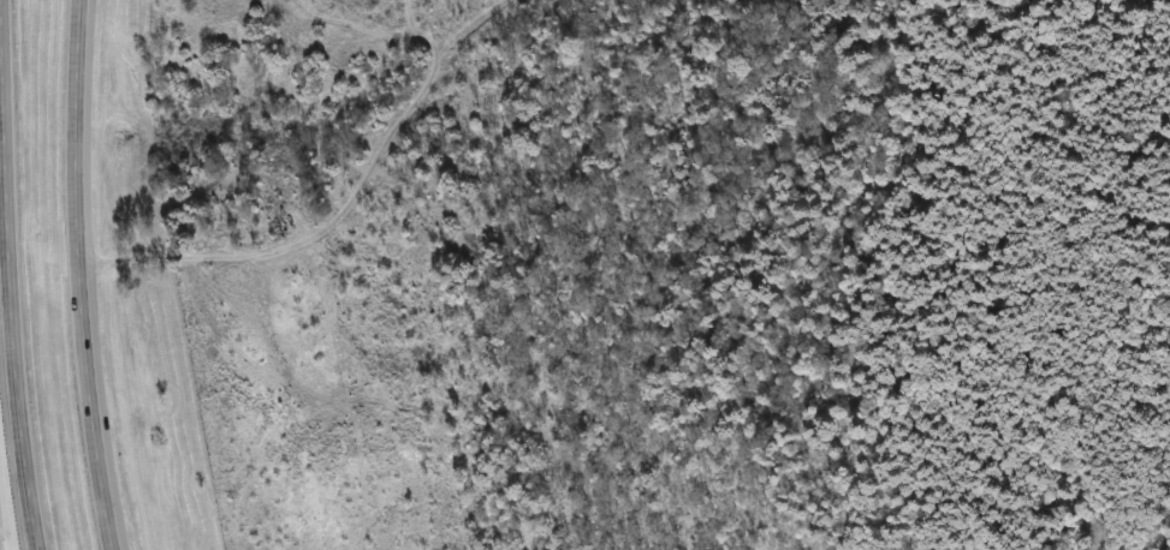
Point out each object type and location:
road: (14, 275)
road: (88, 275)
road: (4, 512)

